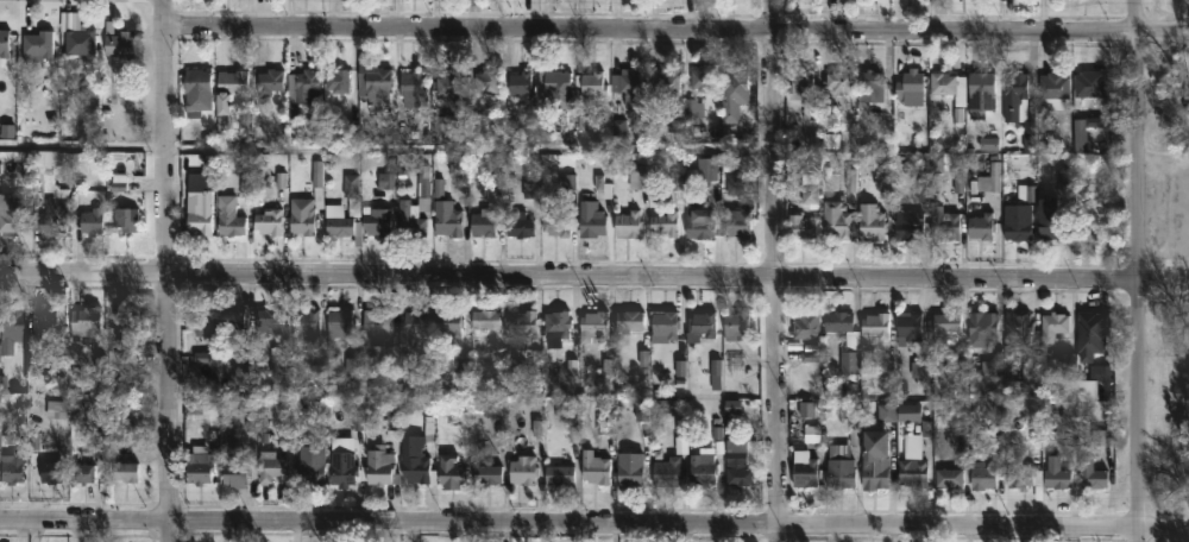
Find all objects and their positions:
building: (471, 1)
road: (673, 30)
building: (78, 39)
building: (119, 42)
building: (4, 43)
building: (34, 45)
building: (336, 80)
building: (268, 81)
building: (662, 81)
building: (703, 81)
building: (839, 81)
building: (373, 82)
building: (487, 82)
building: (591, 82)
building: (301, 83)
building: (521, 83)
building: (801, 83)
building: (232, 84)
building: (910, 84)
building: (1053, 84)
building: (1089, 84)
building: (628, 86)
building: (870, 86)
building: (452, 87)
building: (410, 88)
building: (558, 89)
building: (195, 92)
building: (732, 94)
building: (981, 94)
building: (1019, 107)
building: (958, 111)
building: (448, 124)
road: (386, 146)
road: (1163, 160)
building: (703, 170)
building: (640, 175)
building: (988, 177)
building: (423, 185)
building: (49, 200)
building: (307, 204)
building: (199, 206)
building: (333, 210)
building: (11, 213)
building: (228, 216)
building: (127, 219)
building: (591, 219)
building: (447, 220)
building: (837, 220)
building: (1052, 220)
building: (90, 221)
building: (268, 221)
building: (409, 221)
building: (872, 221)
building: (1019, 221)
building: (377, 222)
building: (556, 222)
building: (736, 222)
building: (483, 223)
building: (628, 223)
building: (665, 223)
building: (945, 223)
building: (1089, 223)
building: (520, 225)
building: (698, 225)
building: (912, 226)
building: (981, 226)
building: (800, 227)
road: (163, 270)
road: (775, 270)
road: (1137, 271)
road: (594, 275)
building: (231, 319)
building: (629, 319)
building: (42, 320)
building: (84, 320)
building: (199, 320)
building: (304, 320)
building: (126, 321)
building: (487, 321)
building: (526, 321)
building: (339, 322)
building: (448, 323)
building: (593, 323)
building: (663, 323)
building: (734, 323)
building: (842, 323)
building: (876, 323)
building: (375, 324)
building: (414, 324)
building: (702, 324)
building: (806, 324)
building: (945, 324)
building: (8, 326)
building: (1052, 326)
building: (554, 327)
building: (908, 327)
building: (1018, 328)
building: (982, 329)
building: (1090, 330)
building: (283, 352)
building: (916, 416)
building: (874, 458)
building: (741, 459)
building: (414, 460)
building: (310, 462)
building: (842, 462)
building: (199, 464)
building: (379, 465)
building: (271, 466)
building: (593, 466)
building: (703, 466)
building: (11, 467)
building: (342, 467)
building: (629, 467)
building: (234, 468)
building: (522, 468)
building: (913, 468)
building: (124, 469)
building: (49, 471)
building: (449, 471)
building: (667, 471)
building: (805, 472)
building: (1056, 472)
building: (486, 473)
building: (559, 474)
building: (82, 475)
building: (948, 475)
building: (982, 475)
building: (1024, 477)
building: (1094, 477)
road: (593, 527)

